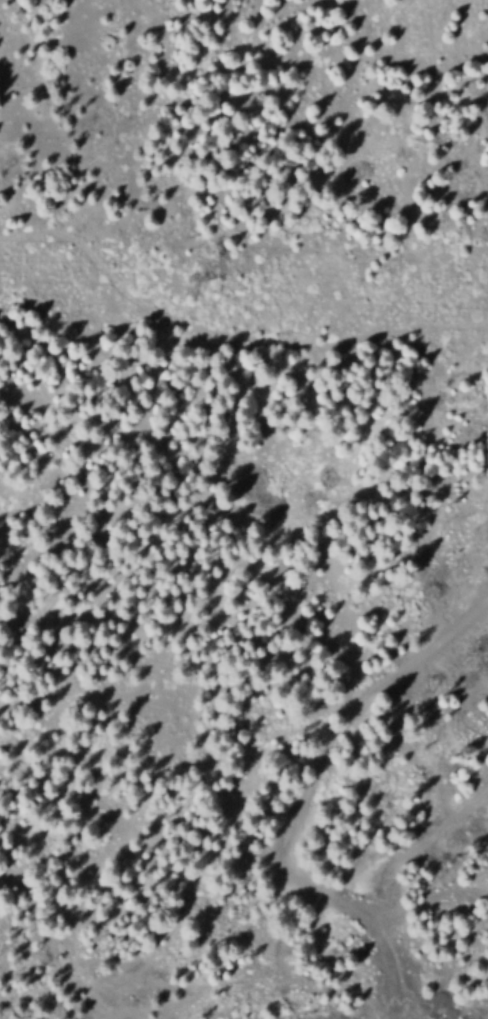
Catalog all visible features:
power tower: (197, 282)

